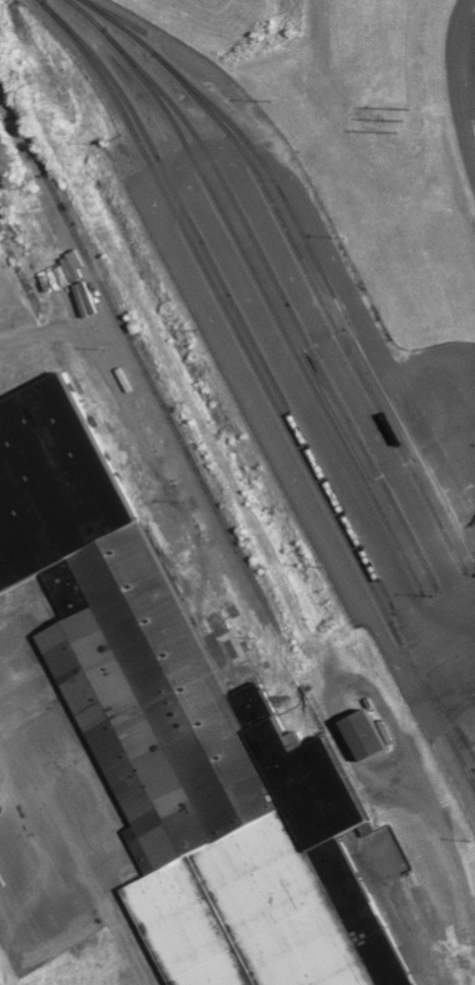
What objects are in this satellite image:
railway: (116, 16)
railway: (302, 262)
railway: (262, 287)
railway: (334, 296)
railway: (230, 297)
railway: (284, 298)
railway: (50, 334)
railway: (266, 389)
railway: (177, 435)
railway: (431, 691)
building: (360, 735)
building: (182, 737)

